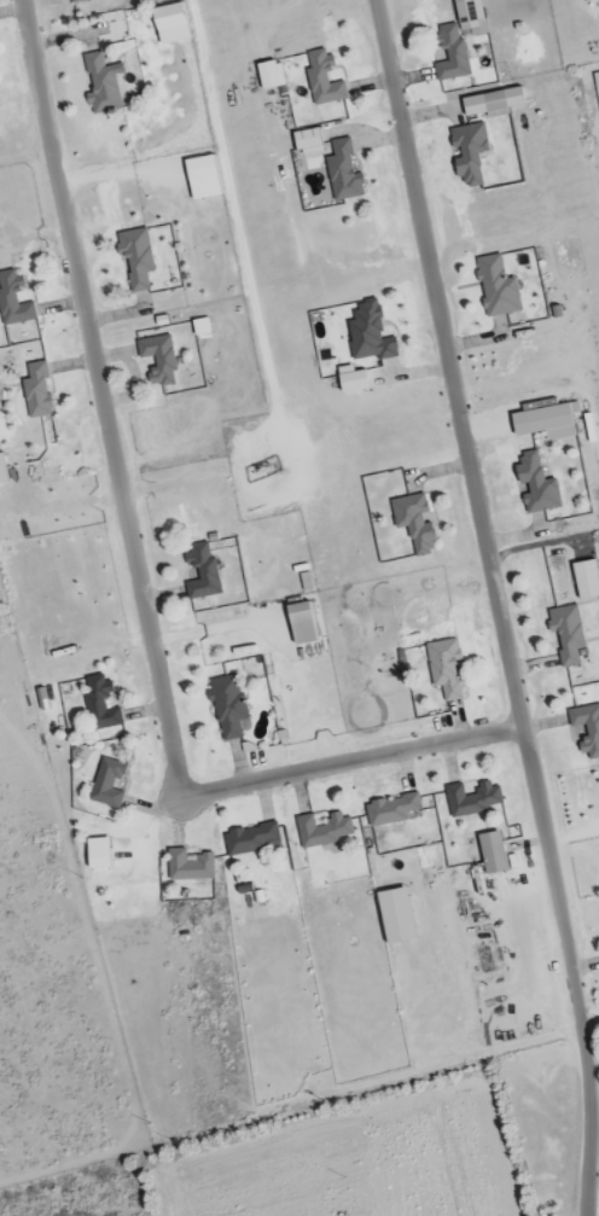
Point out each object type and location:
building: (78, 1)
building: (469, 17)
building: (169, 24)
building: (450, 54)
building: (269, 76)
building: (322, 80)
building: (101, 85)
building: (492, 103)
building: (306, 142)
building: (469, 155)
building: (343, 173)
building: (200, 178)
building: (135, 258)
building: (496, 287)
building: (12, 302)
building: (200, 327)
building: (368, 334)
building: (158, 360)
building: (350, 380)
building: (35, 391)
road: (99, 398)
building: (545, 423)
building: (1, 471)
building: (535, 485)
building: (413, 524)
building: (200, 574)
building: (585, 581)
road: (501, 605)
building: (301, 624)
building: (566, 634)
building: (443, 669)
building: (99, 704)
building: (227, 709)
building: (586, 731)
road: (347, 761)
building: (107, 785)
building: (471, 801)
building: (391, 810)
building: (322, 831)
building: (250, 840)
building: (490, 854)
building: (95, 855)
building: (188, 866)

